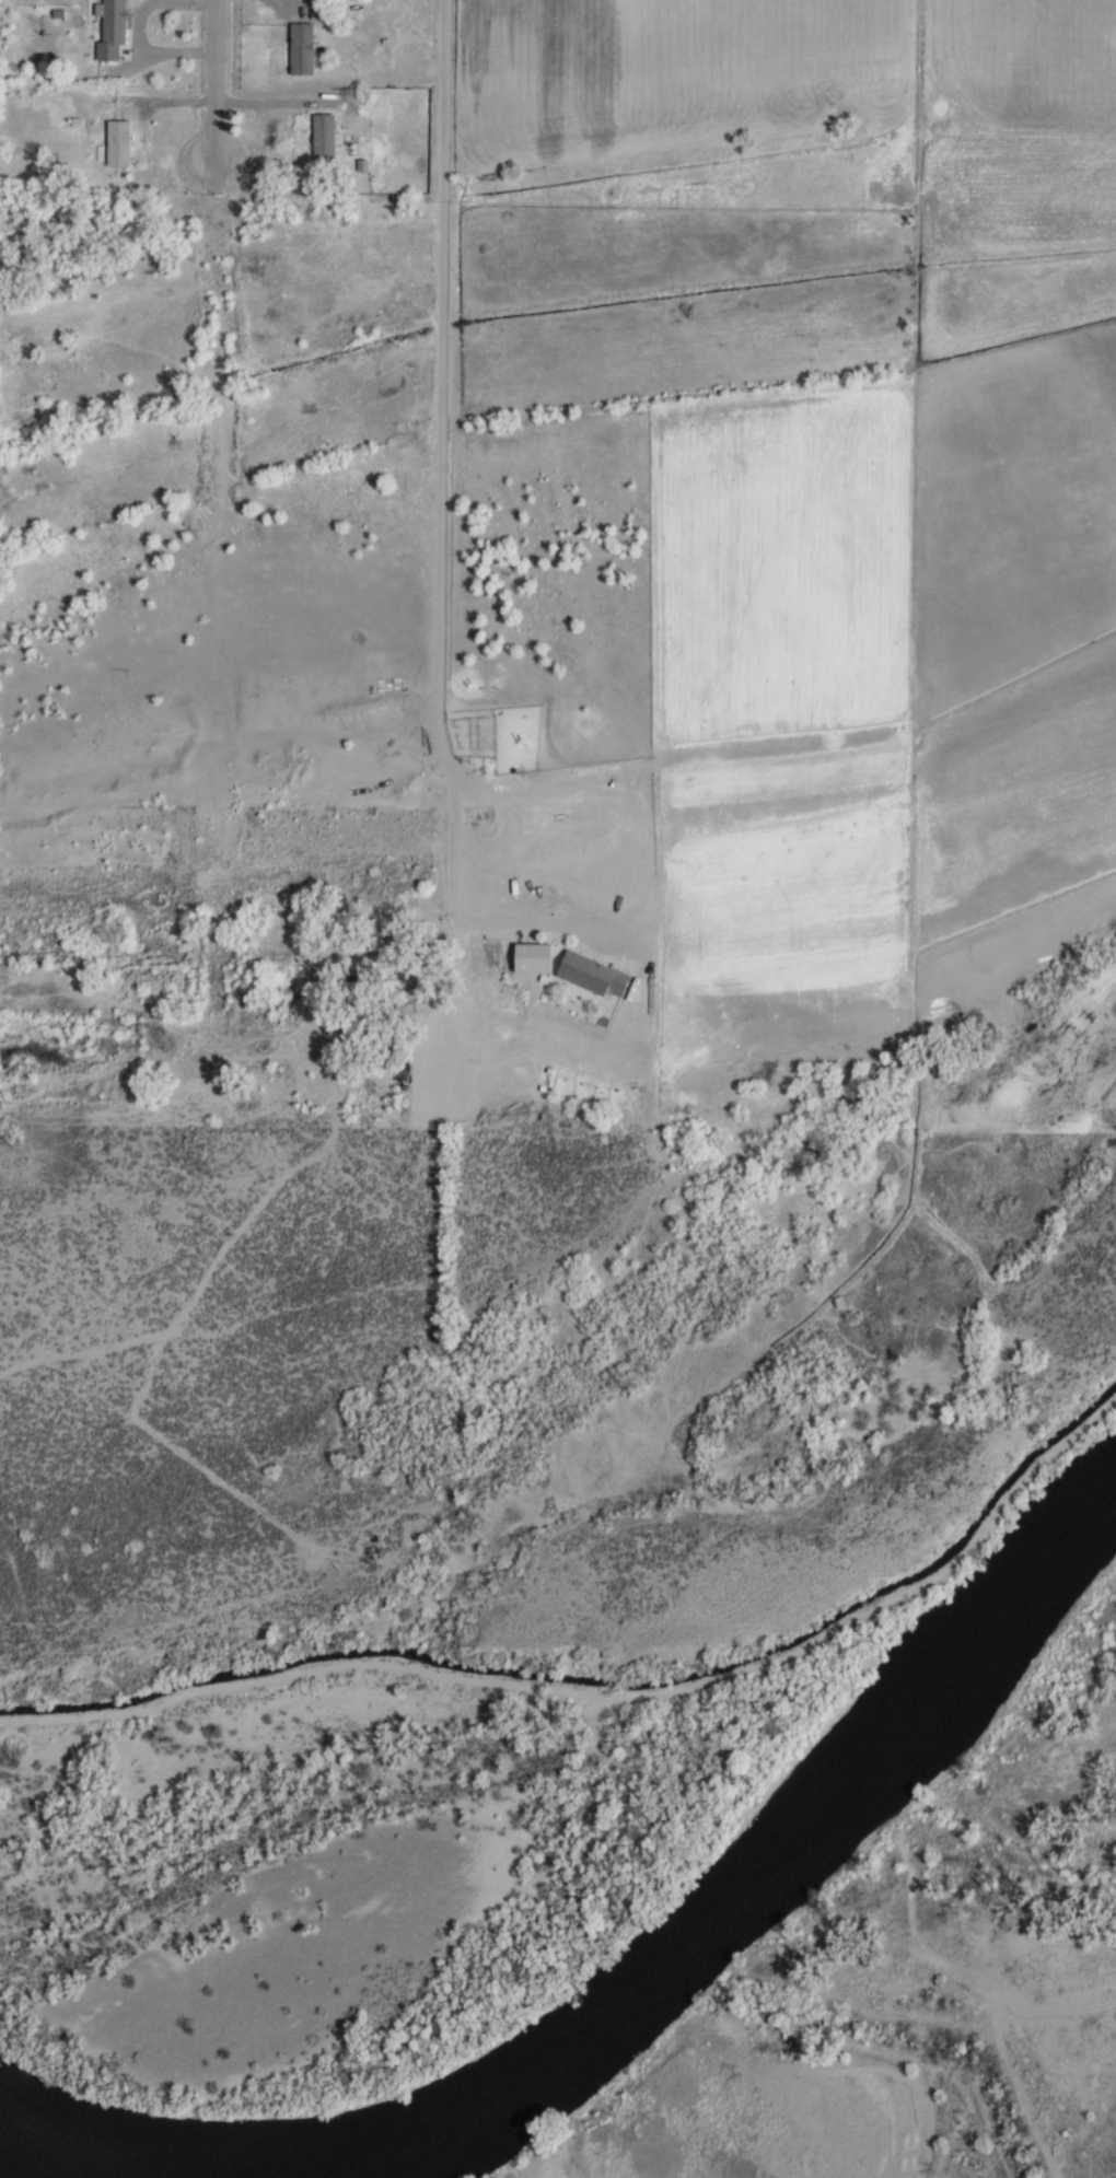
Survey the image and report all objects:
building: (113, 30)
building: (303, 49)
building: (325, 139)
building: (119, 143)
road: (441, 527)
building: (252, 814)
building: (532, 957)
building: (593, 975)
road: (177, 1346)
river: (781, 1860)
river: (917, 2037)
river: (28, 2167)

